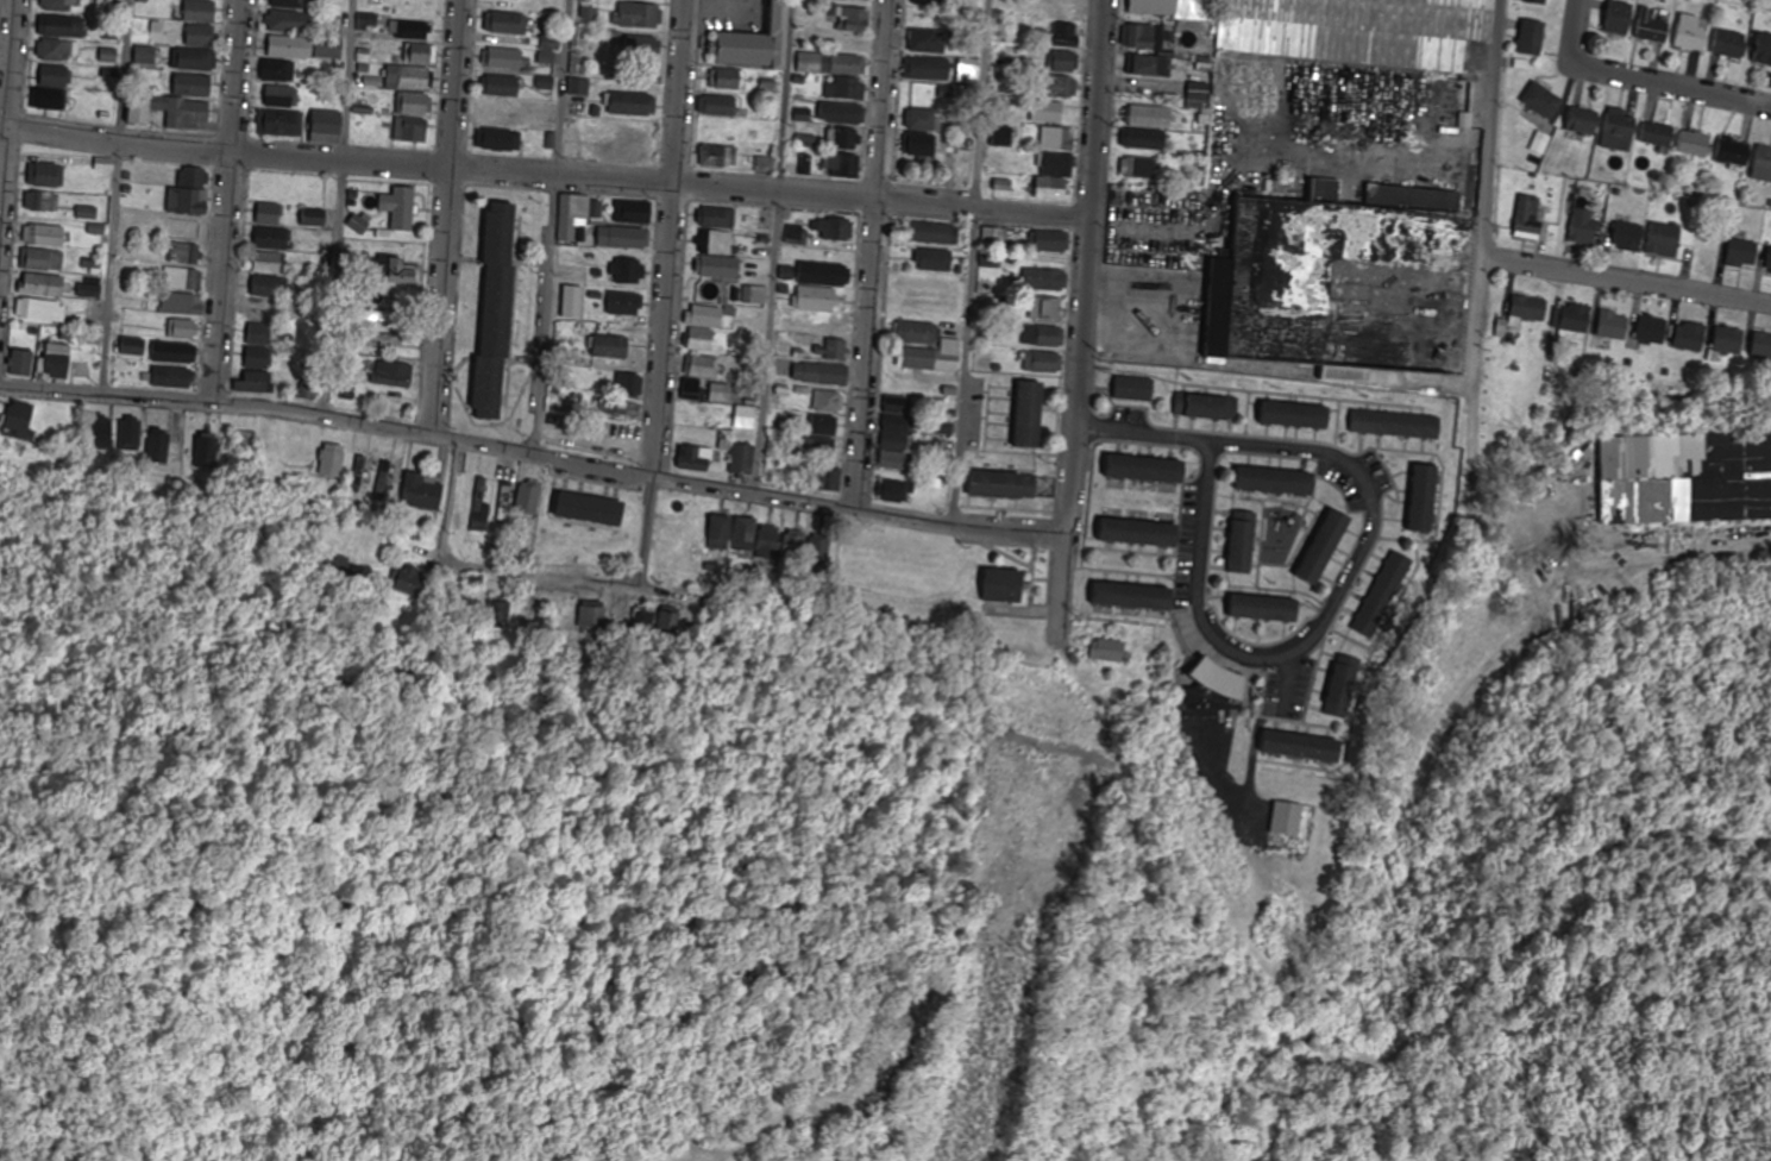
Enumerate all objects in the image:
building: (1, 24)
building: (1355, 30)
road: (1640, 77)
road: (8, 109)
road: (1488, 132)
road: (544, 177)
road: (114, 196)
road: (228, 201)
road: (339, 208)
road: (446, 218)
road: (551, 227)
building: (1357, 237)
road: (772, 246)
road: (872, 256)
road: (968, 263)
road: (1626, 287)
road: (665, 294)
road: (1081, 320)
road: (1474, 344)
road: (533, 454)
building: (1689, 478)
road: (1351, 571)
road: (548, 573)

